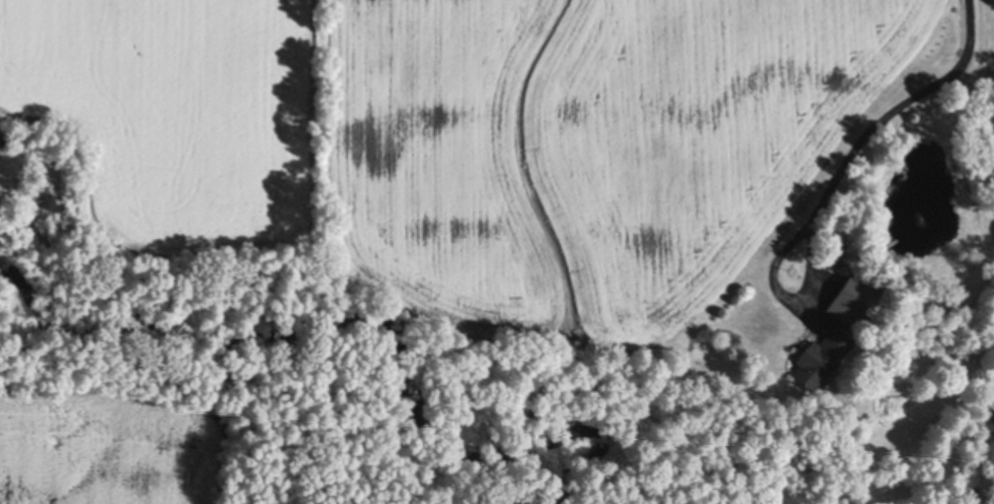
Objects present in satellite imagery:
road: (890, 108)
building: (6, 143)
building: (49, 179)
building: (61, 207)
road: (786, 291)
building: (852, 298)
river: (281, 327)
building: (821, 356)
river: (928, 479)

